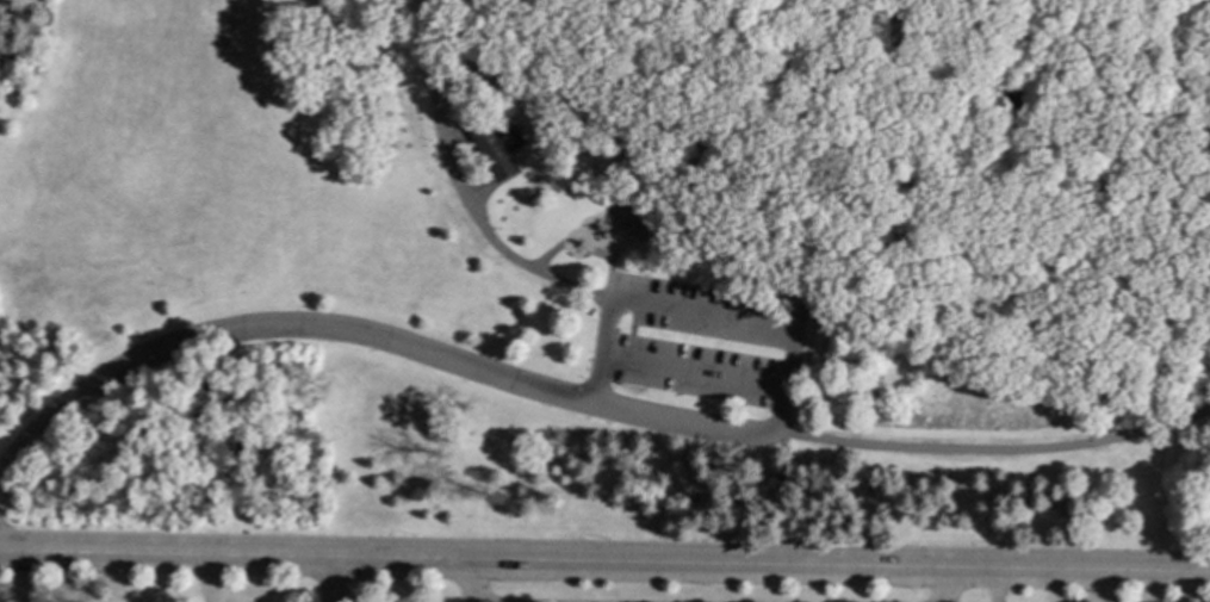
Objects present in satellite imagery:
road: (1140, 41)
road: (551, 68)
road: (854, 116)
road: (455, 137)
building: (494, 145)
road: (461, 190)
road: (482, 193)
road: (1142, 236)
road: (545, 256)
road: (606, 266)
park: (608, 269)
road: (706, 315)
road: (799, 319)
road: (366, 336)
parking lot: (705, 352)
road: (699, 368)
road: (992, 448)
road: (604, 559)
road: (334, 578)
road: (950, 584)
road: (995, 584)
road: (1110, 585)
road: (470, 588)

